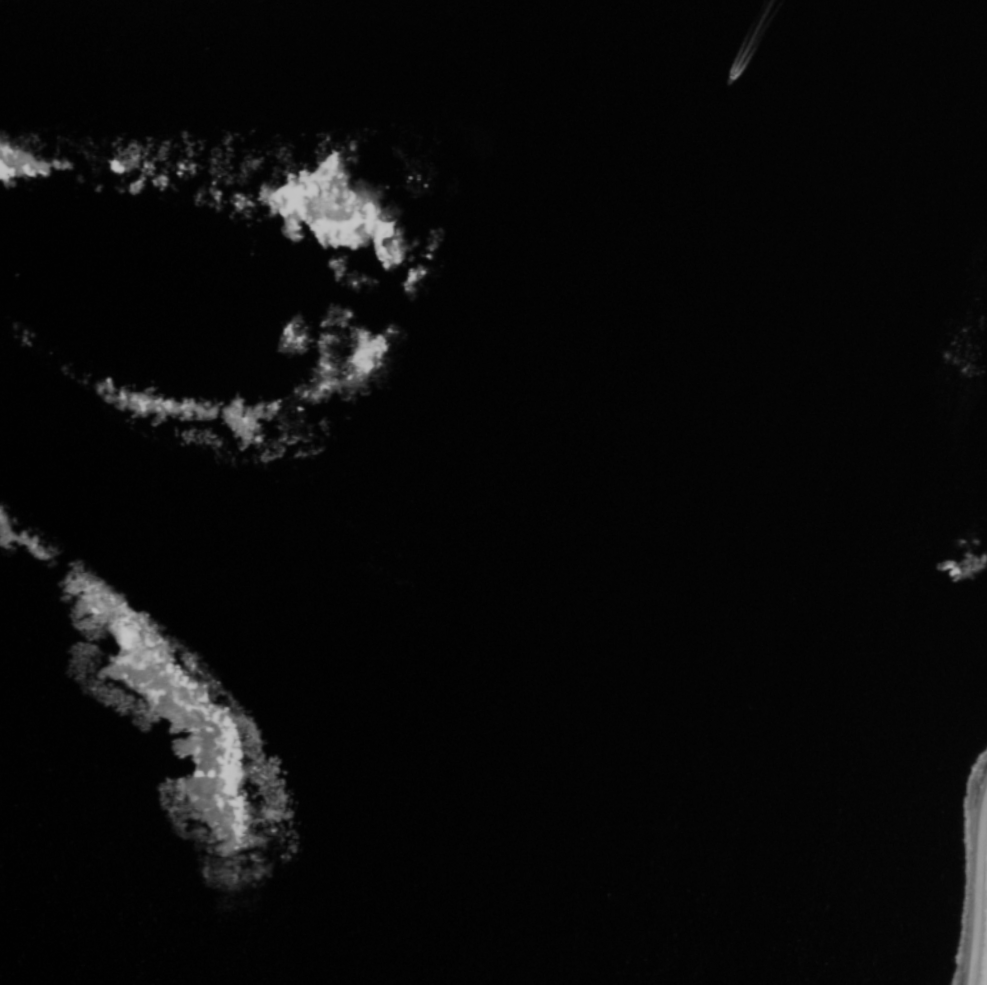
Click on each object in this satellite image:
river: (641, 452)
road: (977, 890)

